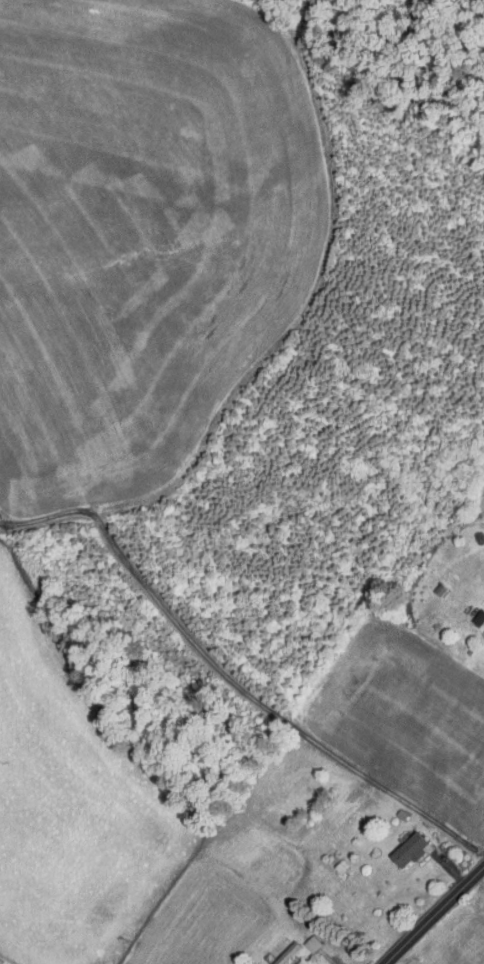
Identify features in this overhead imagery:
road: (230, 680)
building: (412, 848)
road: (432, 913)
building: (313, 943)
building: (289, 953)

